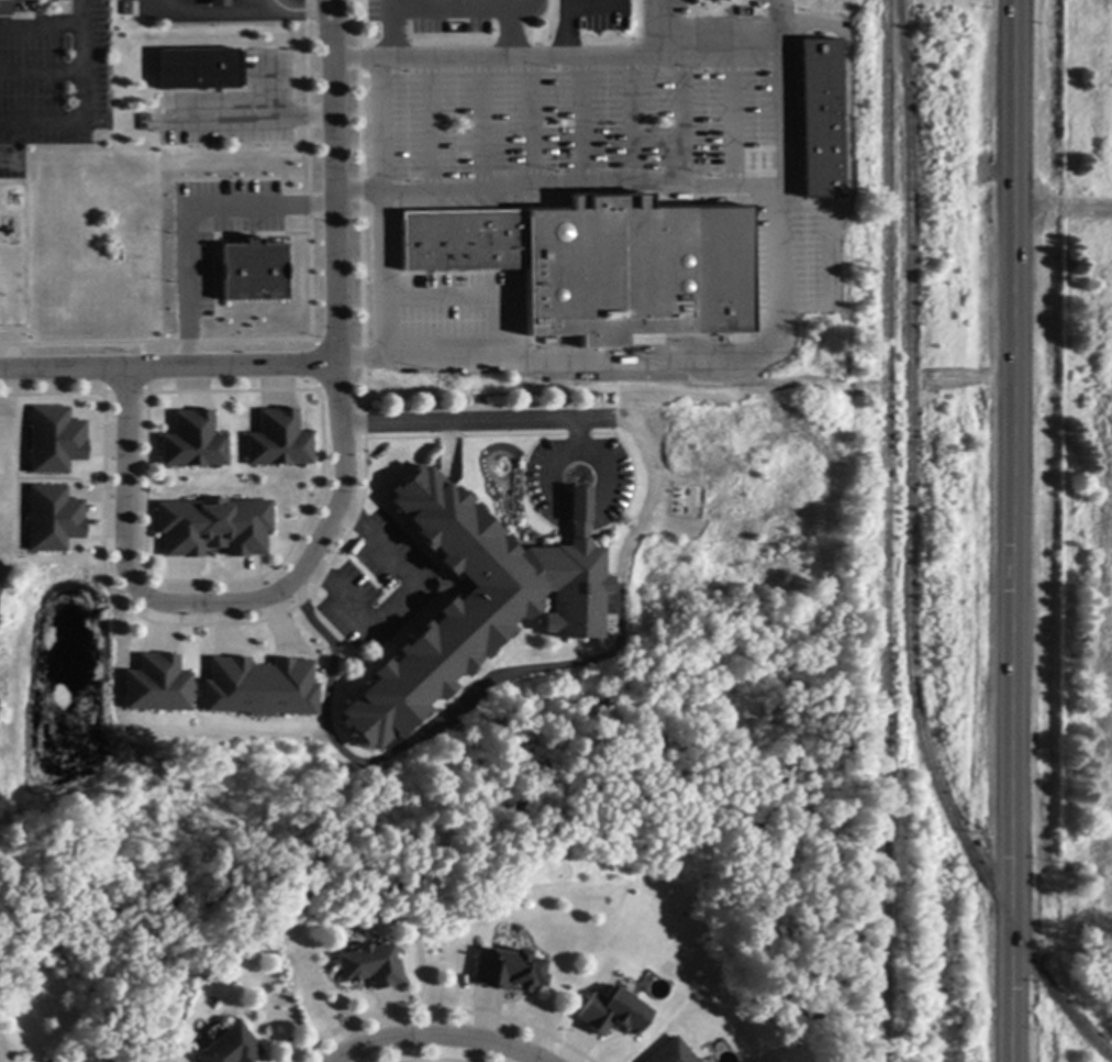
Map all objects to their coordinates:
building: (713, 0)
building: (216, 3)
building: (4, 8)
road: (327, 9)
road: (331, 9)
road: (475, 9)
road: (302, 10)
road: (781, 26)
road: (389, 27)
road: (565, 30)
power tower: (949, 38)
road: (522, 59)
road: (70, 68)
building: (200, 70)
parking lot: (49, 75)
road: (65, 119)
building: (821, 120)
road: (734, 122)
road: (634, 123)
road: (683, 123)
road: (532, 124)
road: (582, 124)
road: (481, 125)
road: (431, 126)
road: (688, 189)
road: (188, 217)
road: (378, 226)
building: (601, 265)
building: (248, 269)
road: (167, 366)
road: (477, 422)
building: (54, 439)
building: (278, 441)
building: (193, 442)
power tower: (947, 452)
road: (555, 457)
road: (608, 474)
road: (338, 502)
road: (578, 505)
building: (53, 518)
building: (214, 528)
railway: (887, 531)
road: (1011, 531)
railway: (909, 556)
road: (396, 595)
building: (472, 602)
building: (157, 686)
building: (260, 695)
power tower: (945, 866)
building: (371, 966)
building: (508, 971)
building: (611, 1011)
road: (434, 1039)
building: (232, 1048)
building: (670, 1053)

